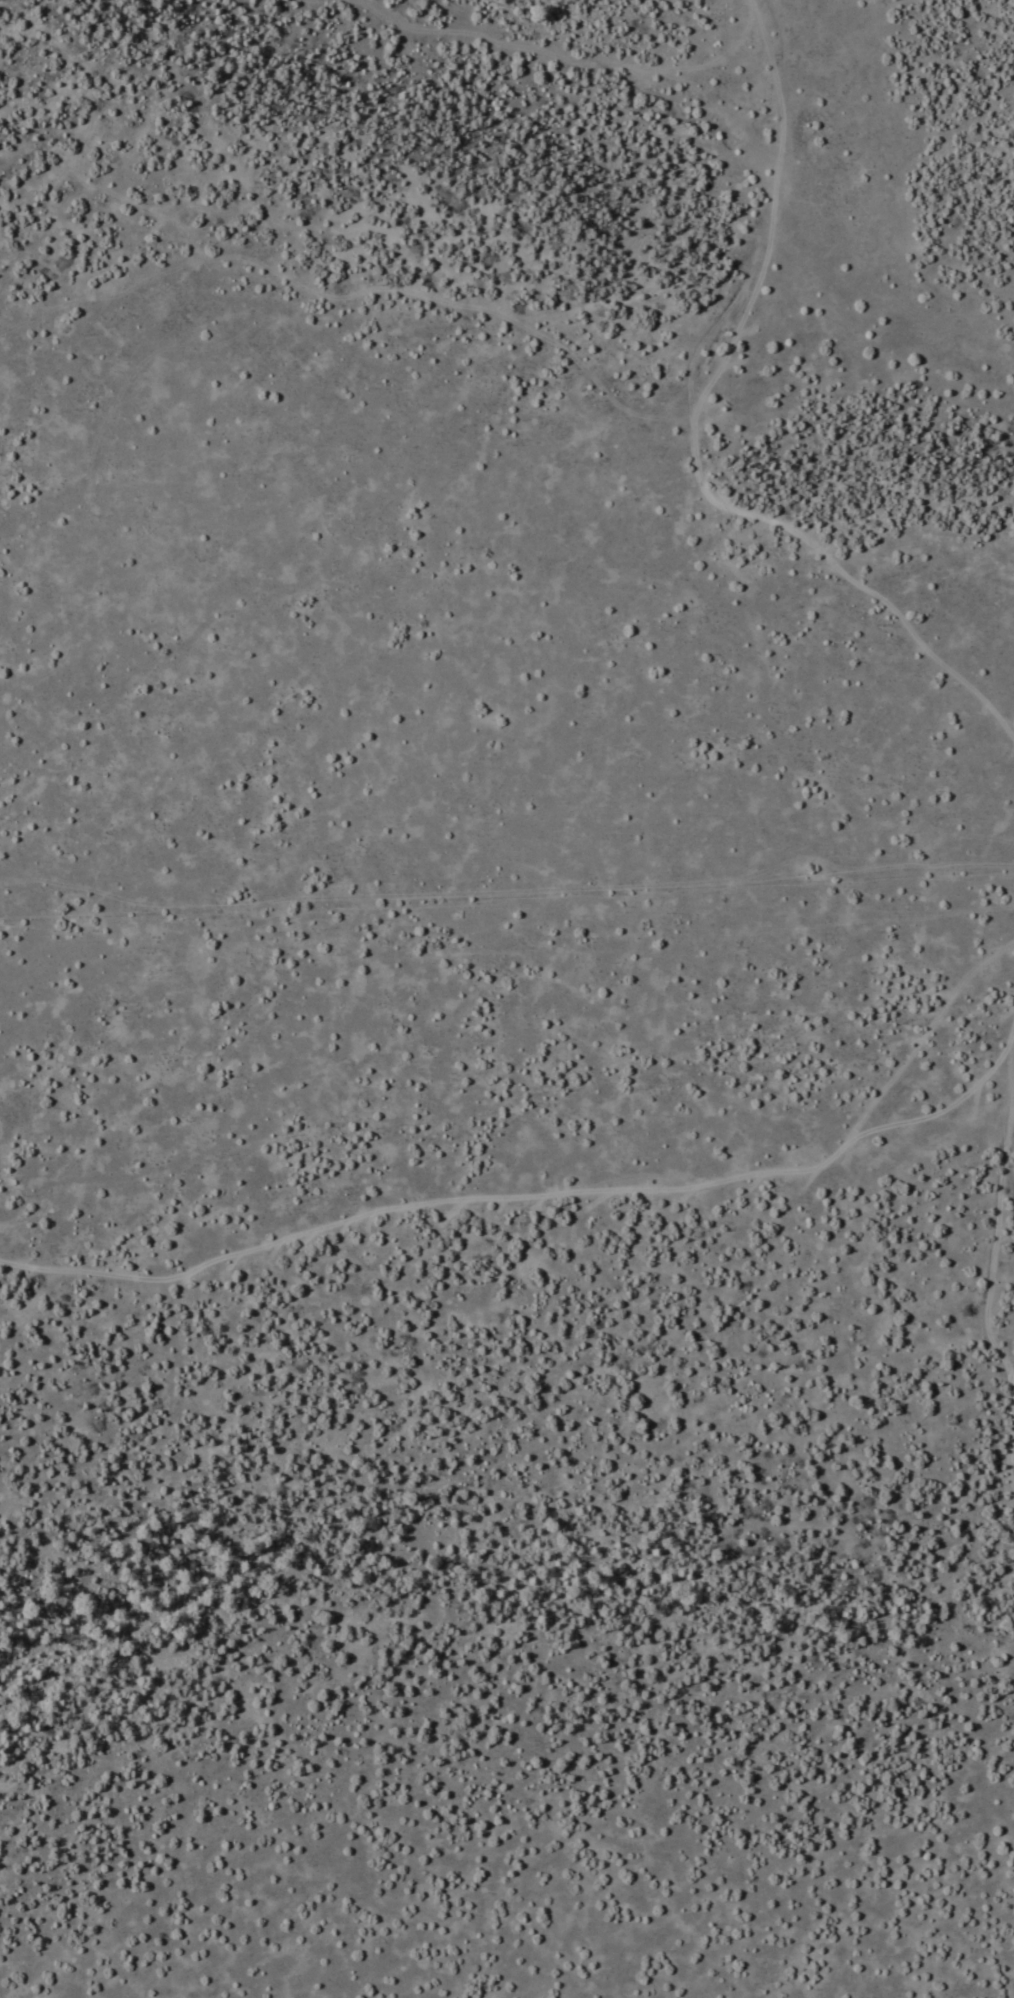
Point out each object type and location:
road: (696, 419)

